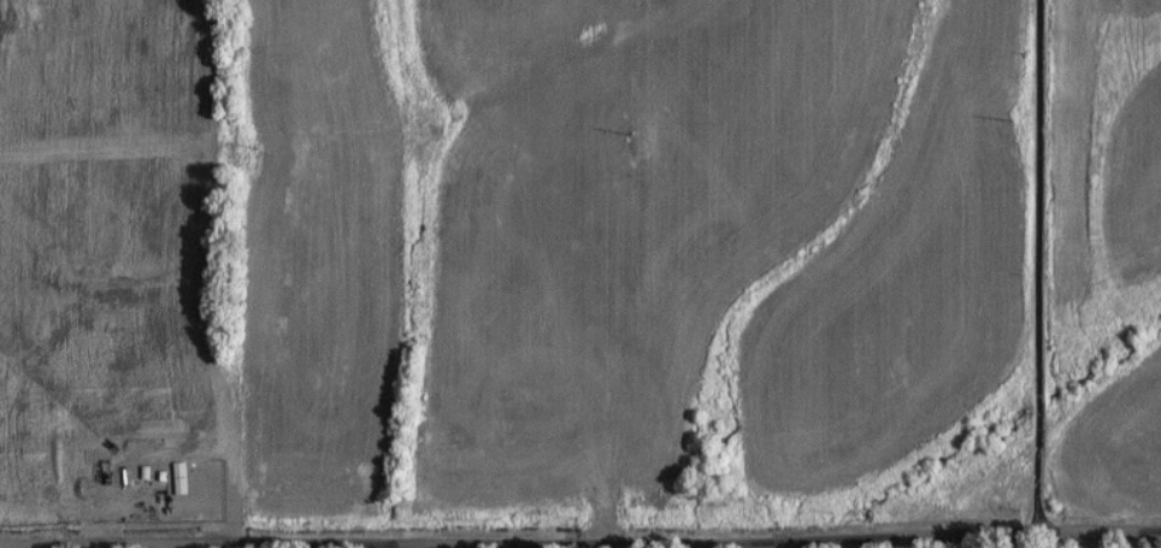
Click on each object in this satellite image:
road: (1043, 266)
building: (173, 476)
road: (1101, 532)
road: (519, 537)

